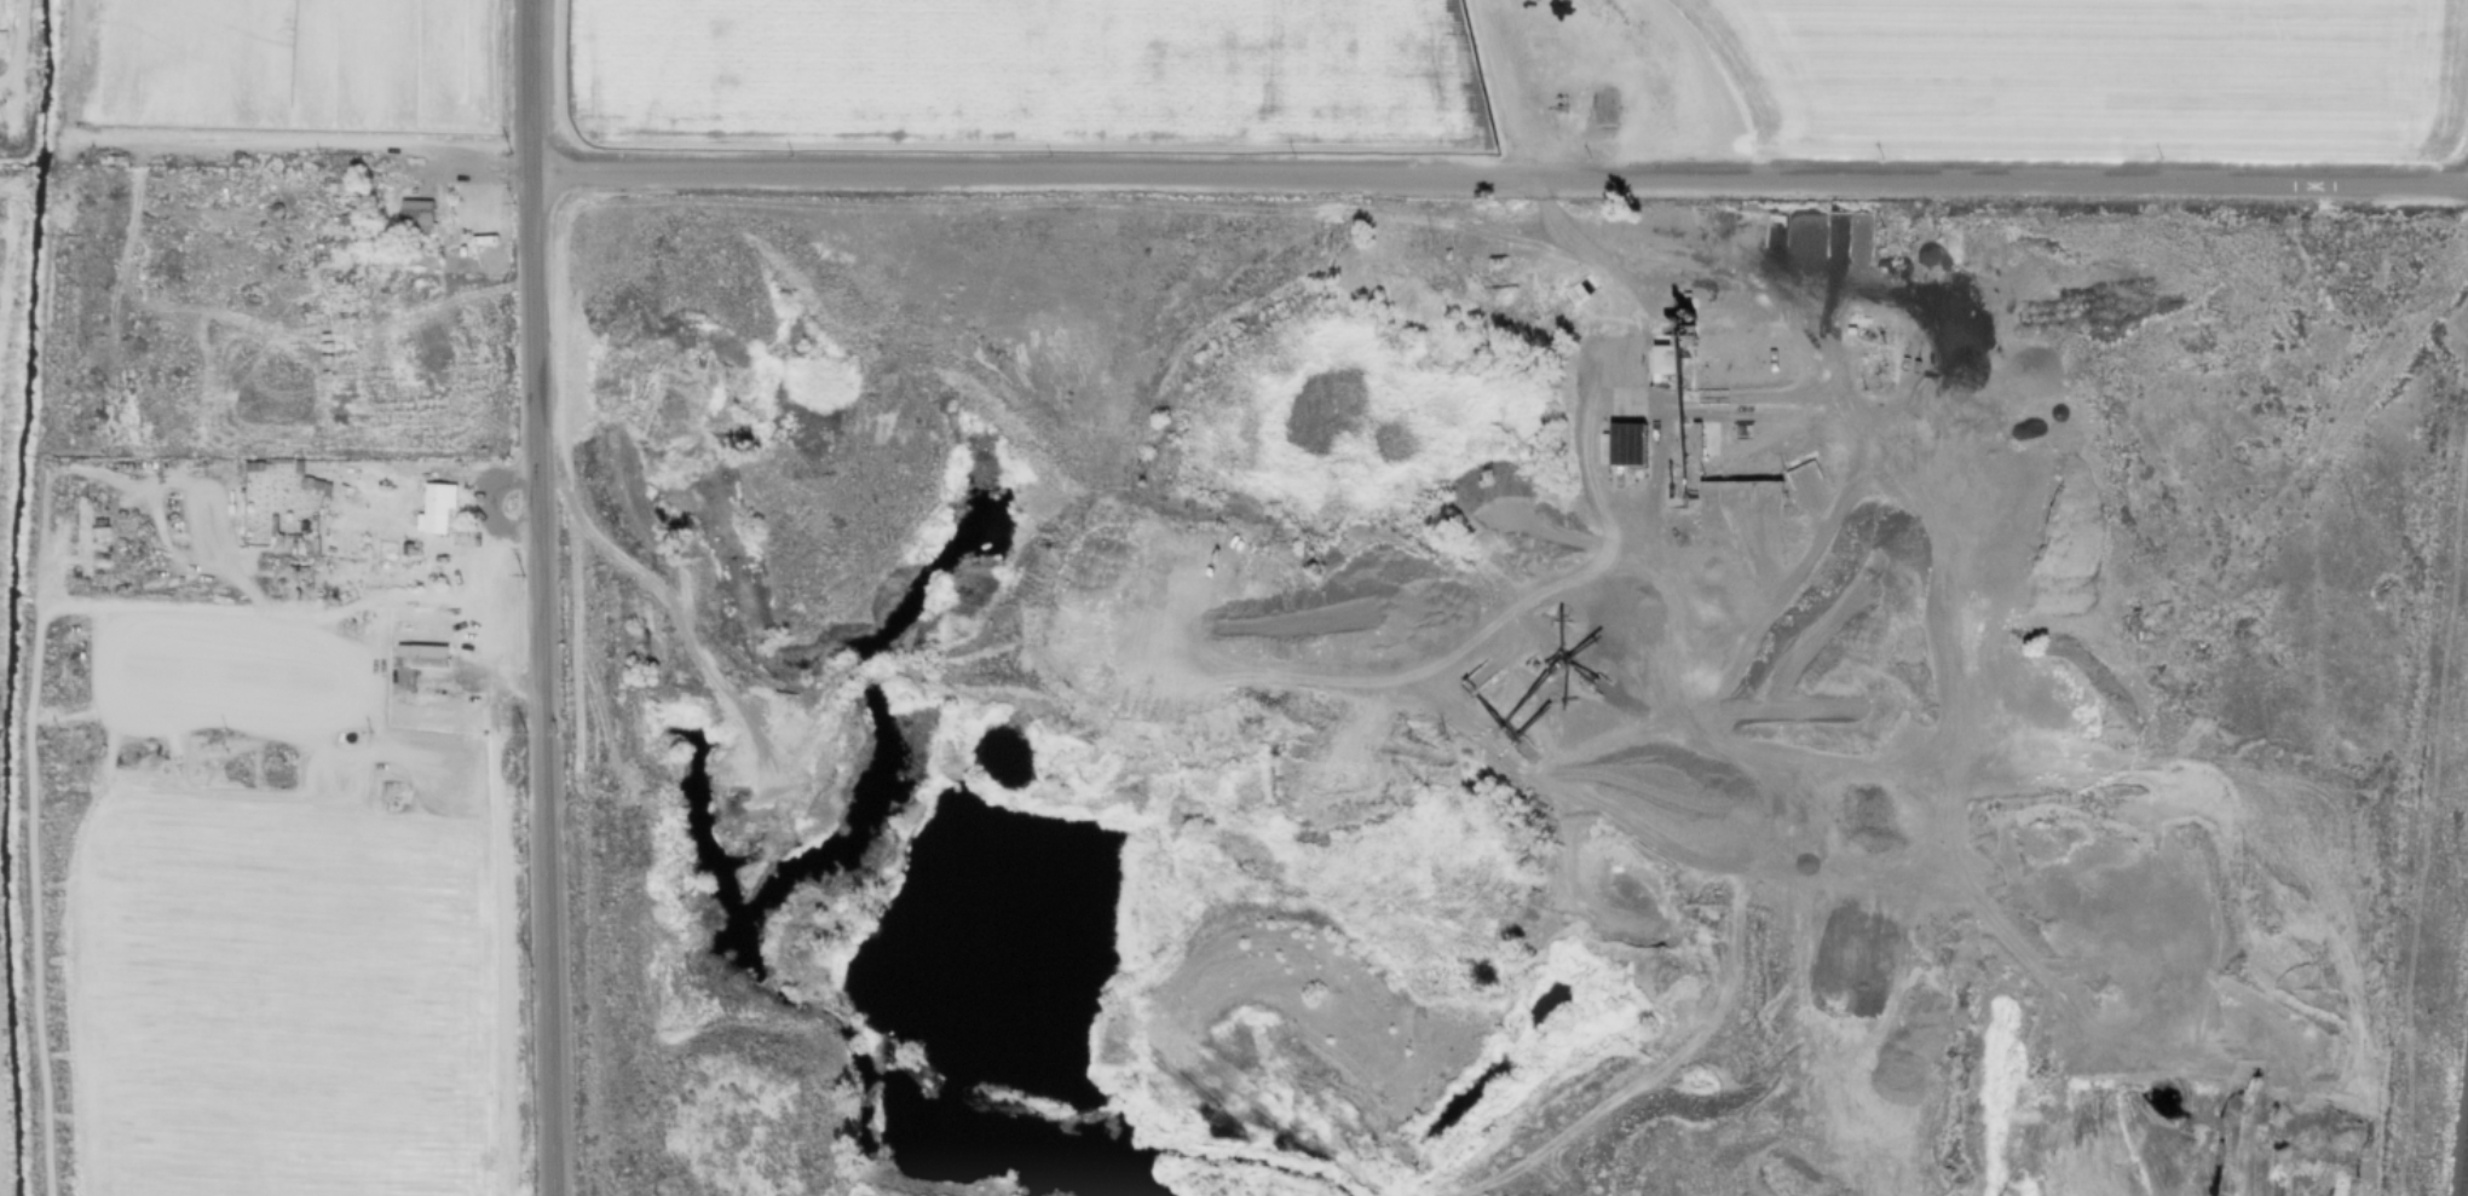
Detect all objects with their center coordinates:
road: (19, 42)
road: (1570, 50)
road: (1499, 88)
road: (247, 143)
road: (440, 164)
road: (1501, 177)
building: (344, 193)
building: (1745, 210)
building: (1803, 210)
building: (1851, 210)
building: (276, 213)
silo: (276, 213)
building: (413, 221)
building: (1708, 229)
building: (1768, 229)
building: (1745, 230)
building: (1791, 230)
building: (1874, 235)
building: (1829, 236)
building: (1851, 236)
building: (1598, 283)
building: (1580, 287)
building: (1588, 291)
building: (1581, 295)
building: (1593, 299)
building: (1574, 302)
building: (1679, 328)
road: (227, 343)
building: (1663, 360)
road: (1828, 370)
road: (1716, 395)
road: (1671, 397)
building: (1716, 397)
road: (2043, 433)
building: (1625, 440)
road: (1663, 444)
building: (1757, 457)
building: (1798, 458)
building: (1738, 479)
building: (315, 486)
building: (1780, 491)
building: (1700, 492)
building: (1718, 492)
building: (1748, 493)
road: (1813, 501)
road: (489, 504)
building: (432, 510)
building: (273, 532)
road: (1824, 532)
road: (411, 536)
road: (1765, 537)
road: (1700, 542)
road: (2243, 559)
road: (1547, 560)
road: (537, 597)
road: (1651, 601)
road: (319, 624)
road: (1810, 632)
road: (690, 635)
road: (1516, 654)
building: (1572, 655)
building: (417, 660)
building: (1553, 665)
building: (1484, 666)
road: (498, 680)
building: (1495, 680)
quarry: (1509, 681)
building: (1598, 682)
building: (1613, 682)
building: (1478, 683)
building: (1603, 694)
building: (1528, 695)
building: (1494, 711)
road: (1645, 720)
road: (354, 721)
building: (1534, 721)
building: (1523, 743)
building: (1536, 746)
building: (1524, 755)
road: (1541, 763)
road: (1962, 767)
road: (457, 824)
road: (33, 901)
road: (500, 937)
road: (219, 988)
road: (2068, 1000)
building: (1441, 1084)
railway: (2464, 1162)
building: (1527, 1185)

